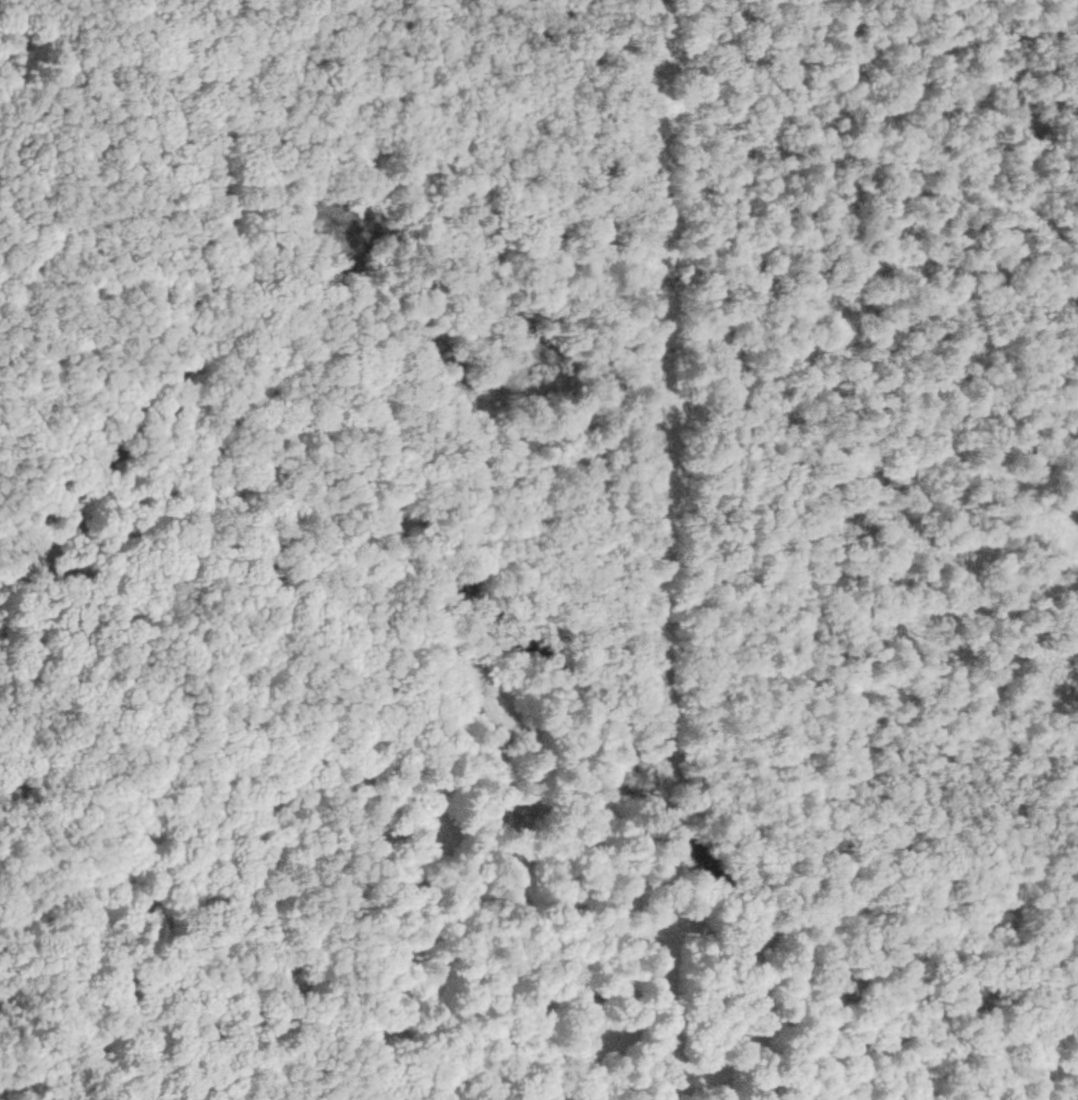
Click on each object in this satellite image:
road: (404, 532)

